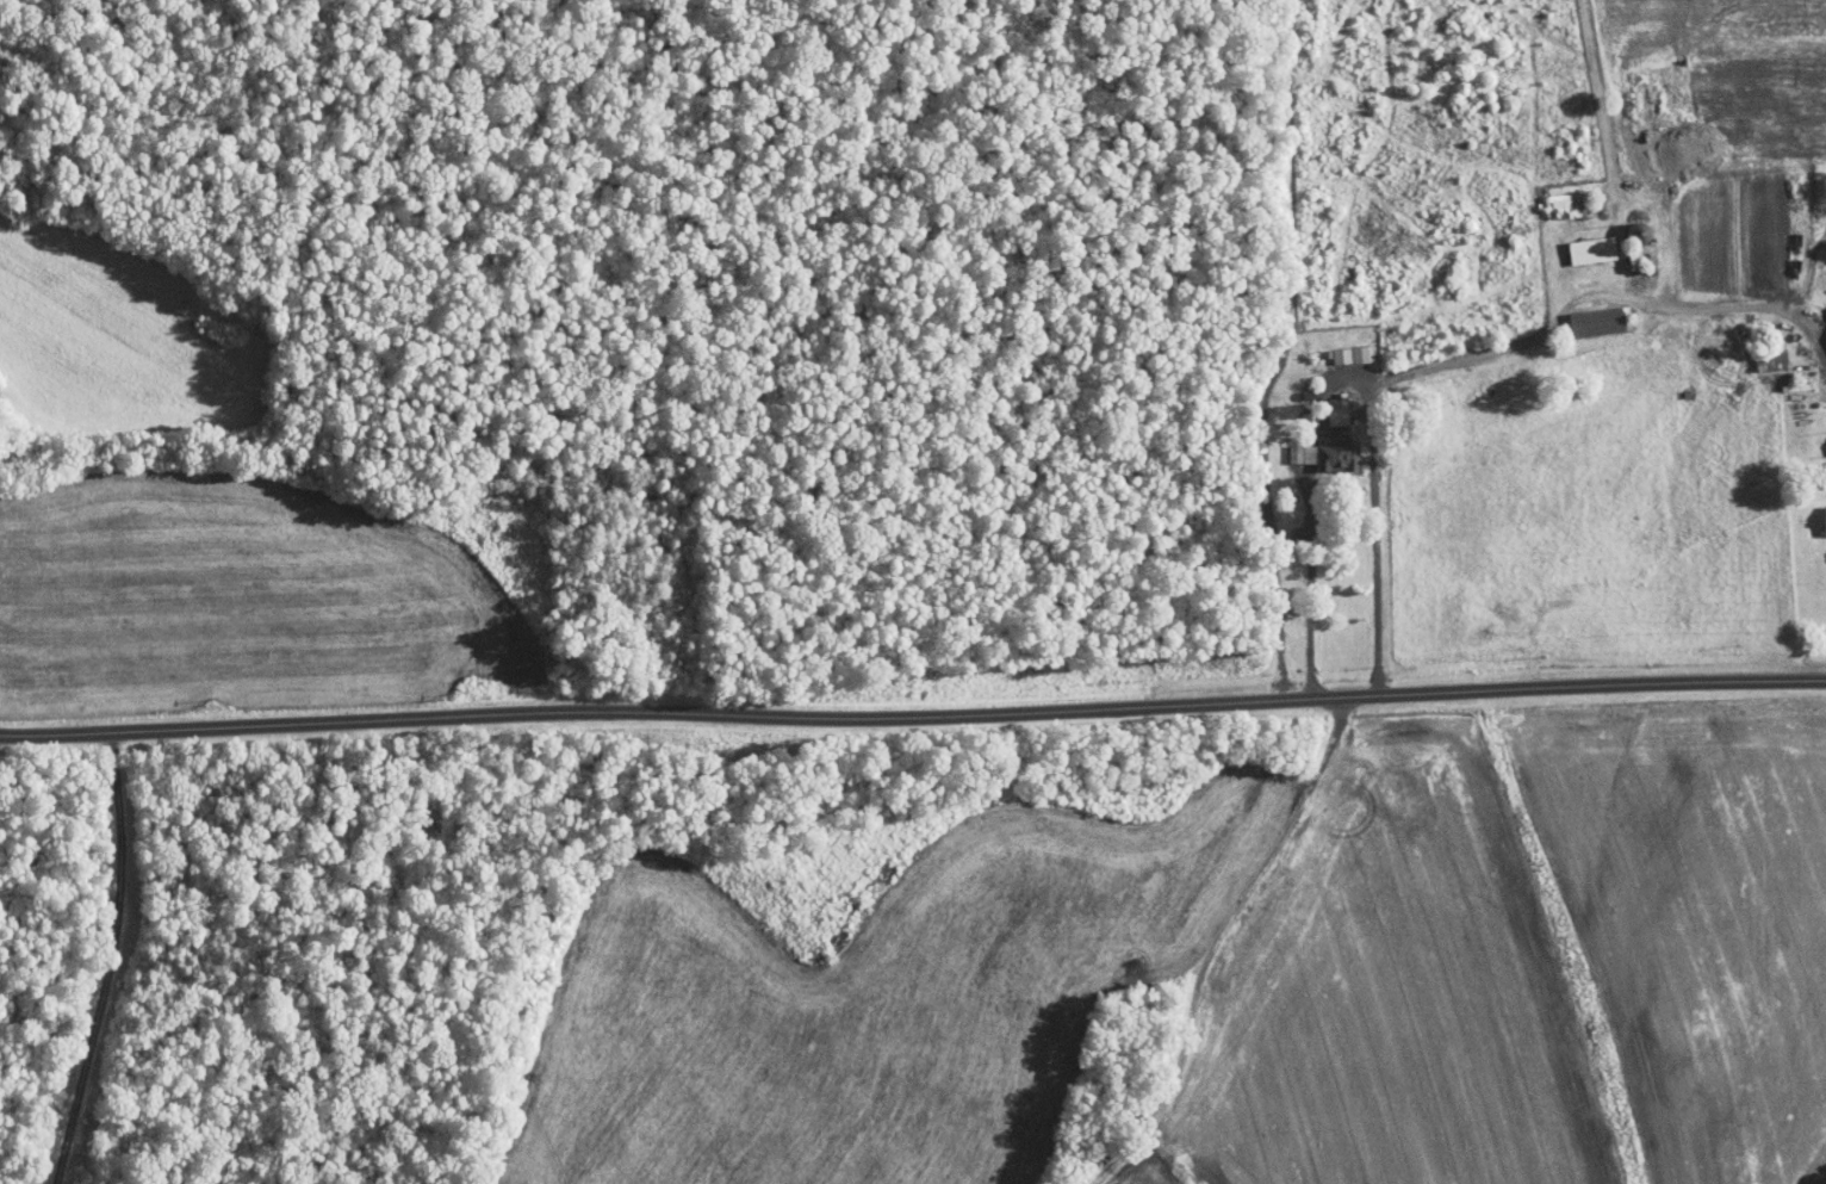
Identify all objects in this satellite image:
building: (1557, 197)
building: (1582, 242)
building: (1585, 312)
building: (1339, 347)
road: (1470, 357)
road: (1353, 378)
building: (1324, 402)
building: (1824, 438)
building: (1291, 446)
building: (1329, 446)
building: (1820, 512)
road: (1317, 578)
road: (913, 714)
road: (114, 961)

